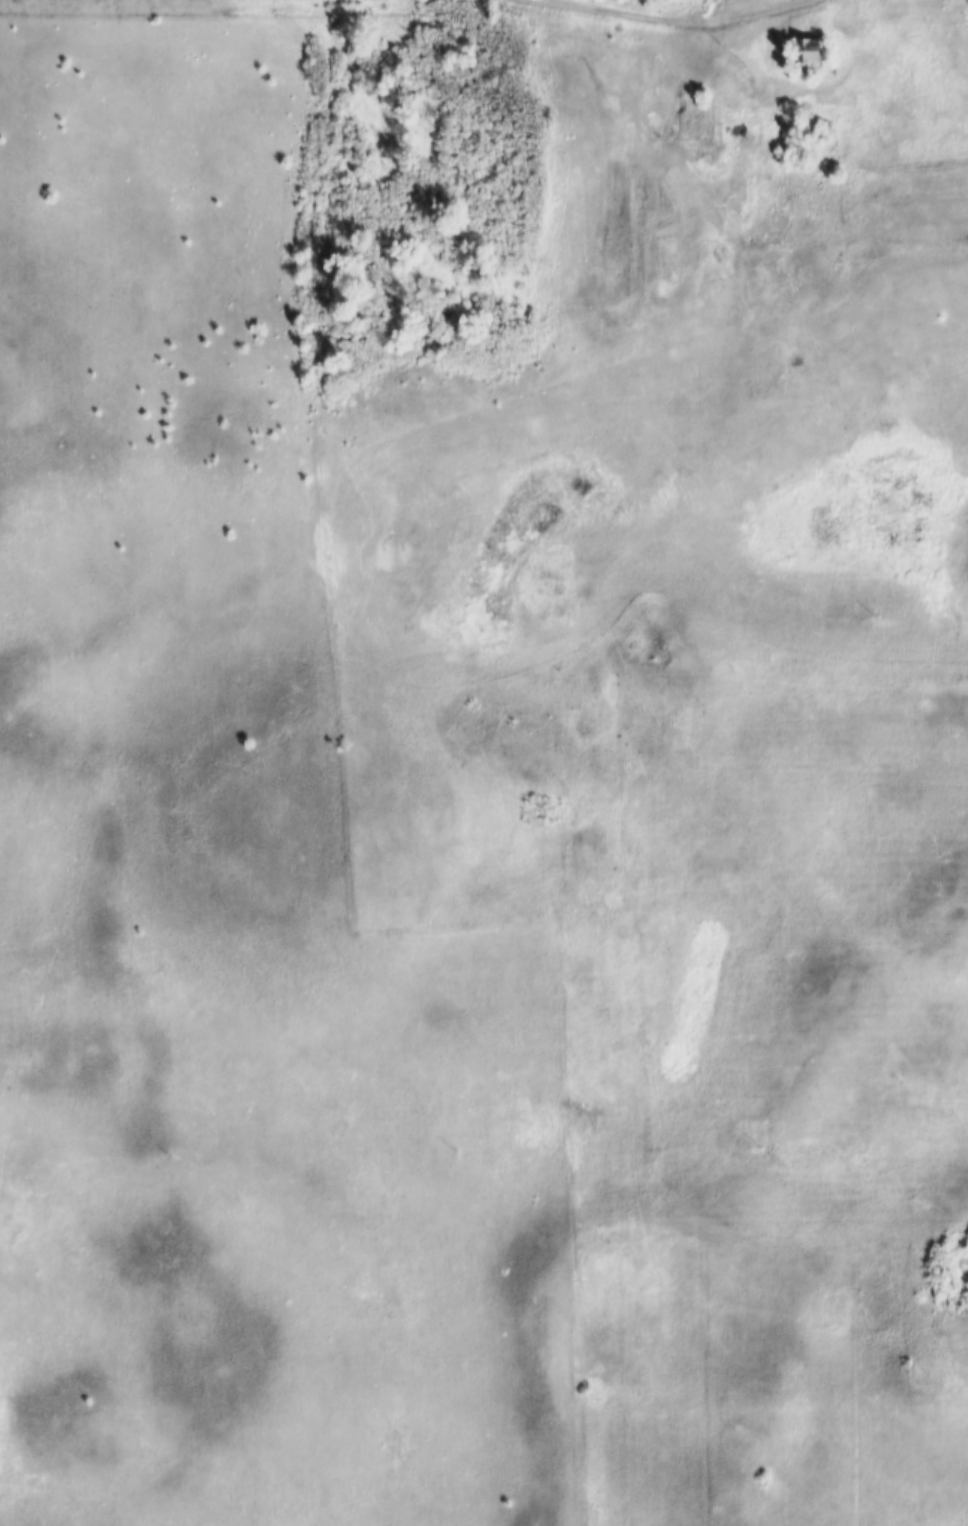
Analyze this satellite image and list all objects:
road: (695, 17)
building: (807, 47)
building: (825, 123)
building: (736, 133)

